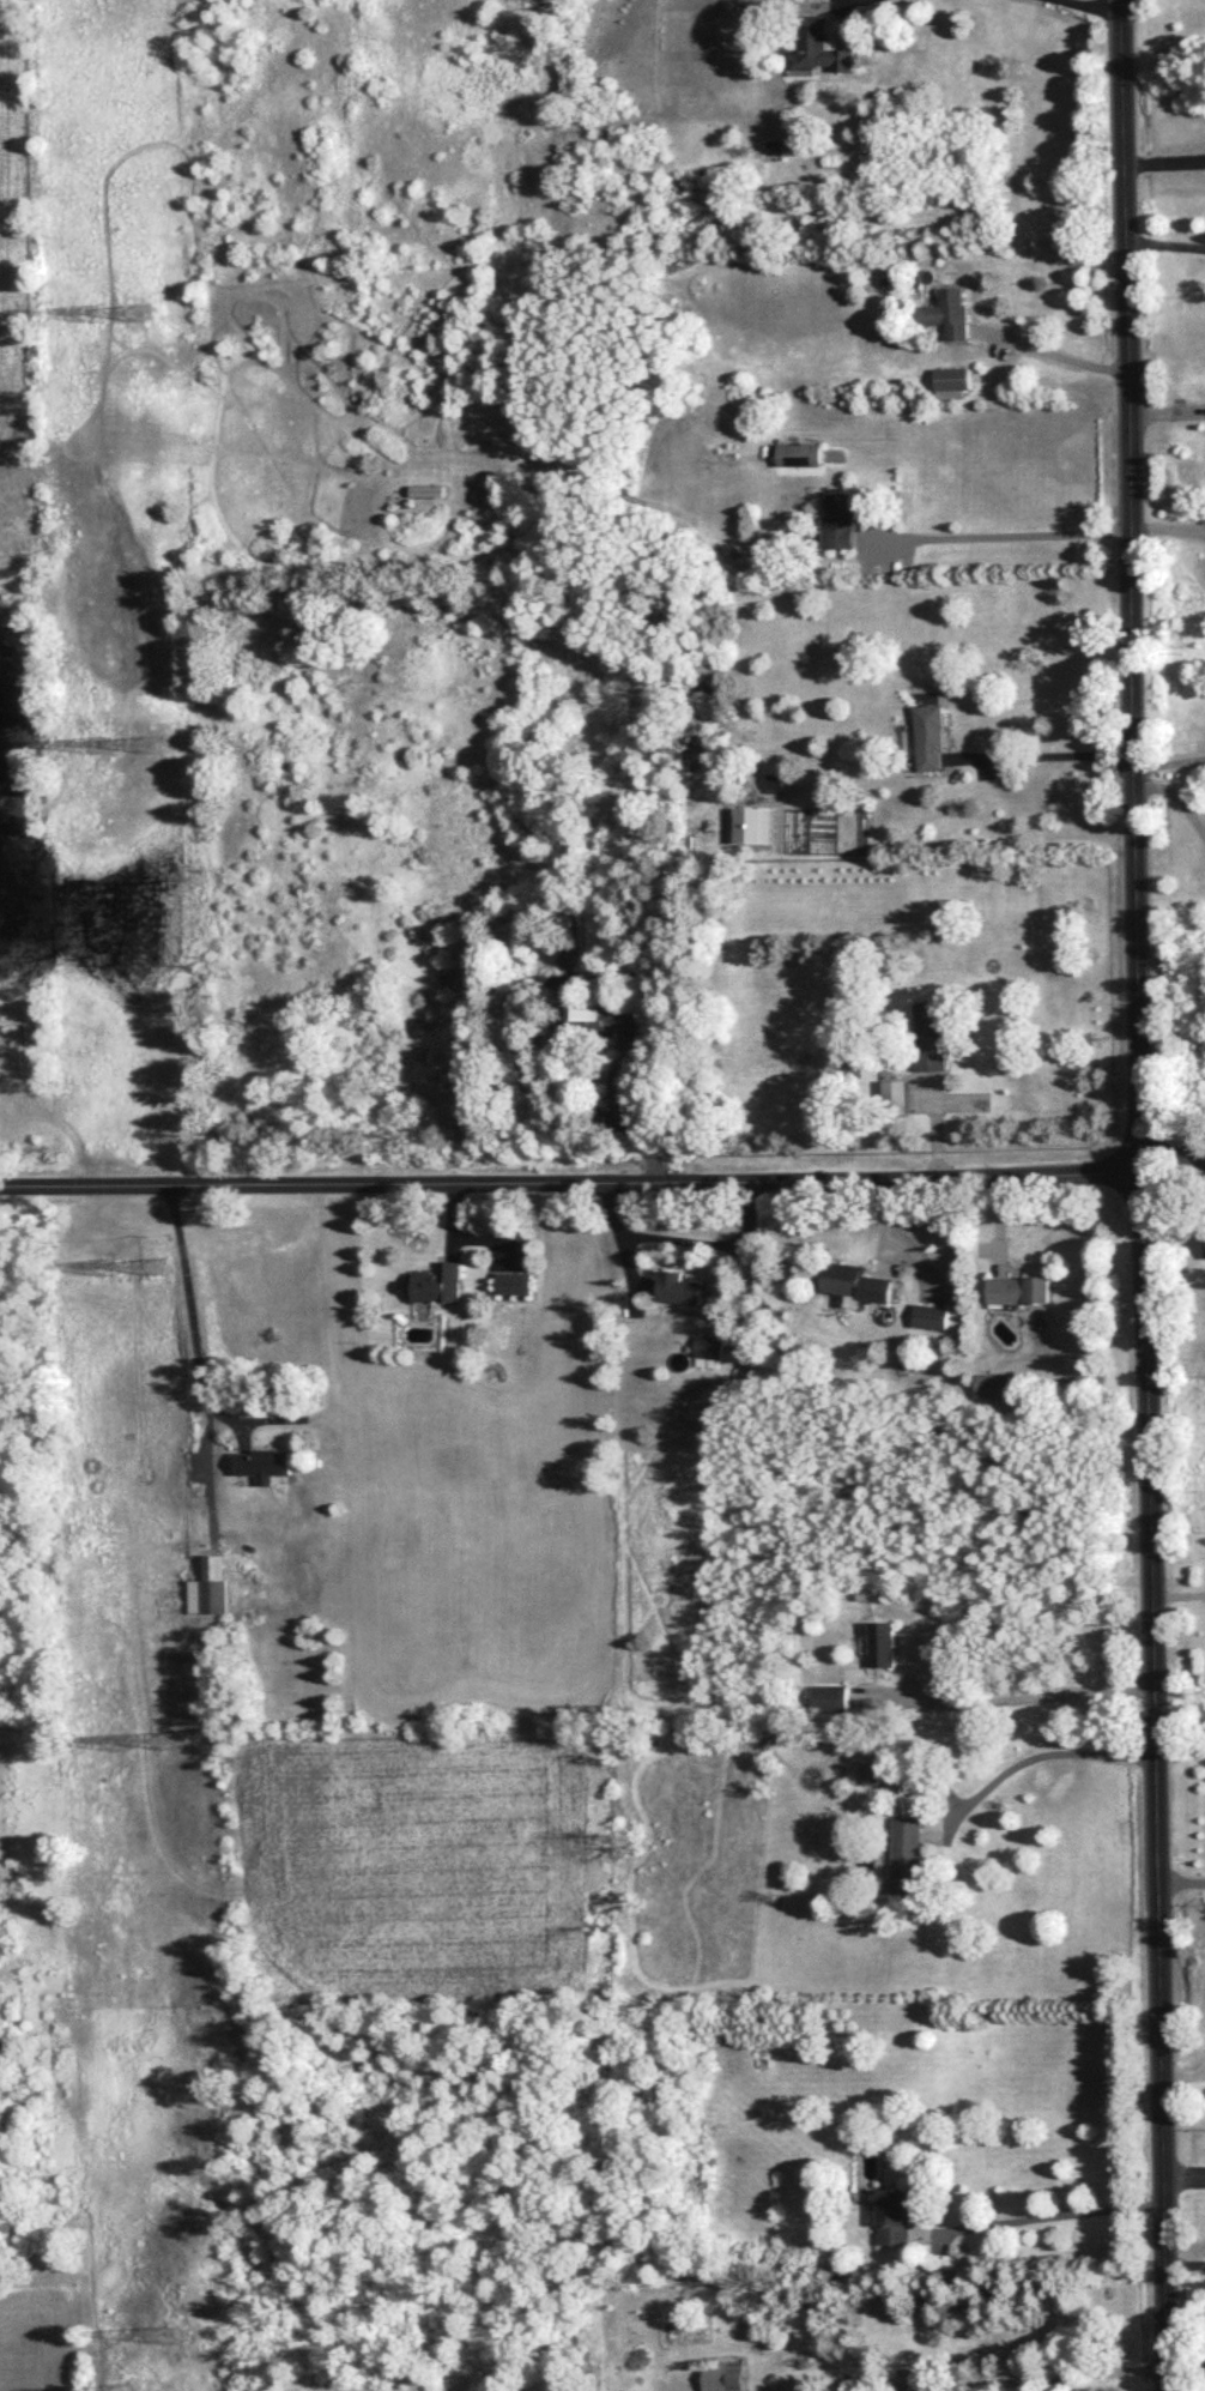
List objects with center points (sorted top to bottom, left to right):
road: (852, 4)
road: (1091, 6)
building: (819, 47)
road: (1165, 161)
road: (1167, 240)
power tower: (147, 313)
building: (945, 313)
power tower: (95, 315)
road: (1053, 355)
building: (951, 376)
building: (800, 453)
building: (428, 489)
building: (838, 521)
road: (1011, 533)
building: (931, 736)
power tower: (152, 747)
power tower: (102, 748)
road: (1044, 755)
road: (1171, 762)
road: (1179, 797)
building: (604, 932)
building: (606, 1015)
building: (896, 1092)
road: (616, 1117)
road: (602, 1183)
road: (1145, 1195)
road: (883, 1219)
road: (684, 1240)
power tower: (162, 1269)
power tower: (111, 1270)
building: (511, 1281)
building: (438, 1282)
building: (854, 1282)
building: (678, 1287)
building: (1018, 1288)
building: (931, 1316)
road: (193, 1324)
building: (707, 1351)
building: (992, 1384)
building: (265, 1463)
building: (206, 1586)
road: (1179, 1595)
building: (882, 1643)
building: (831, 1697)
road: (1012, 1698)
power tower: (169, 1744)
power tower: (120, 1745)
road: (1036, 1756)
building: (880, 1773)
road: (1181, 1882)
road: (1185, 2077)
road: (1185, 2174)
road: (1053, 2215)
building: (895, 2216)
road: (1186, 2263)
power tower: (181, 2338)
road: (1186, 2366)
building: (723, 2373)
road: (1055, 2374)

